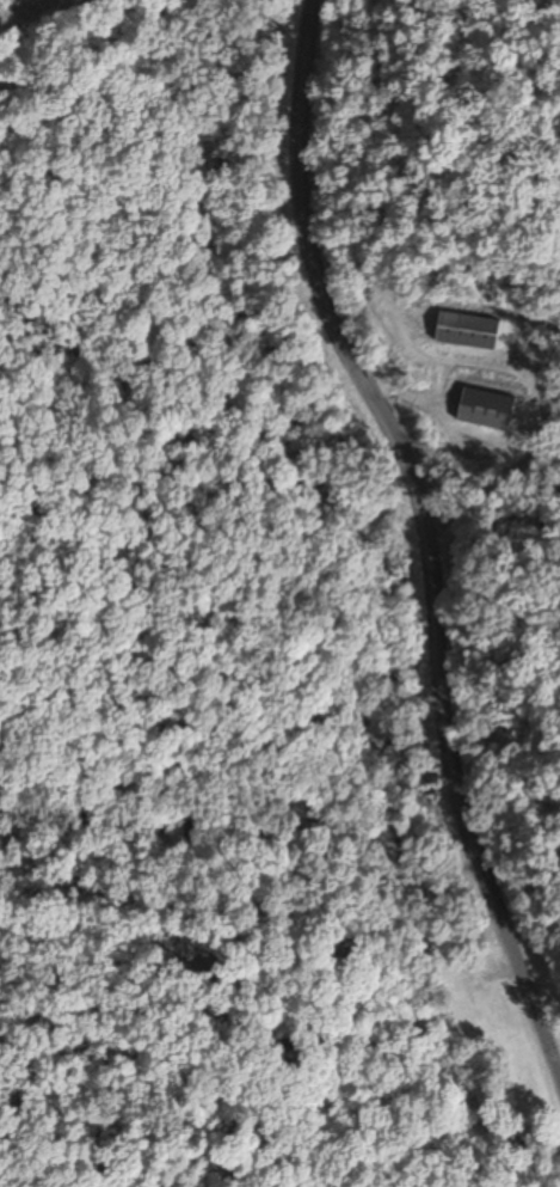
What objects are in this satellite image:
road: (408, 592)
building: (462, 983)

